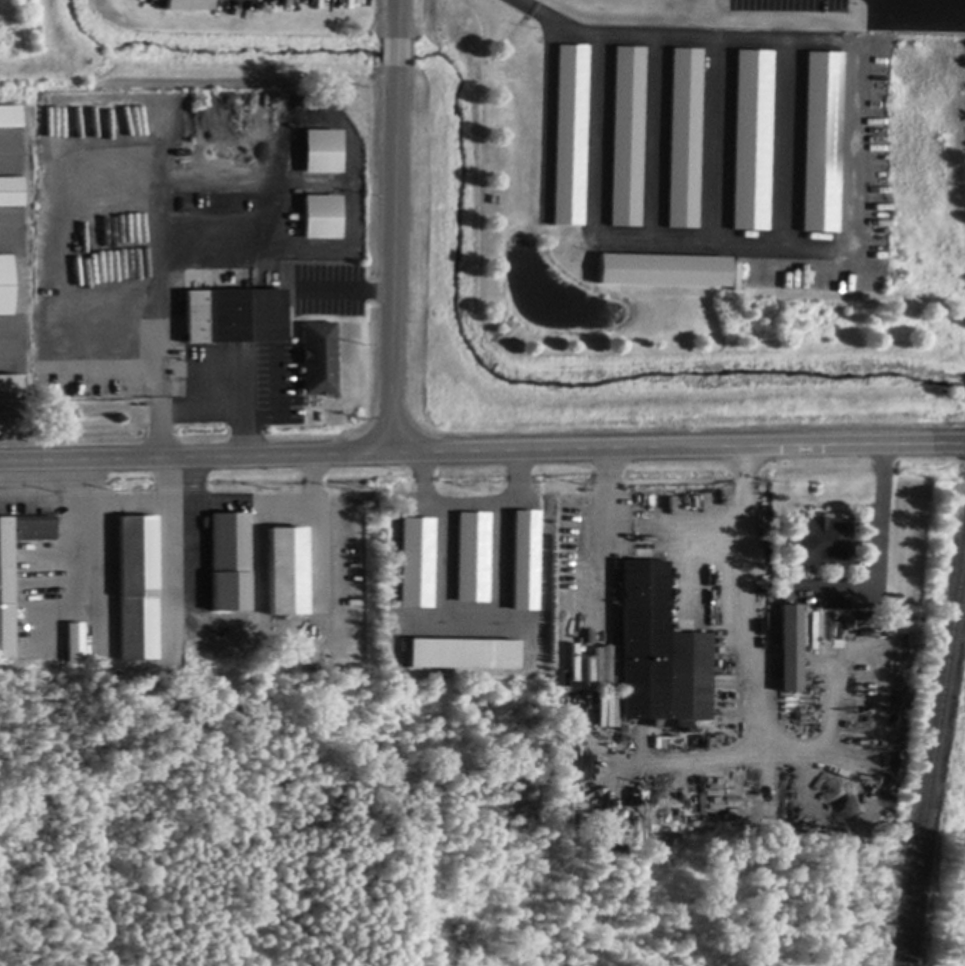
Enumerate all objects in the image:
building: (186, 5)
building: (234, 5)
road: (671, 39)
building: (9, 116)
building: (570, 137)
building: (627, 138)
building: (684, 140)
building: (818, 141)
building: (751, 142)
building: (322, 153)
building: (11, 193)
building: (321, 219)
road: (393, 226)
building: (663, 272)
building: (4, 287)
building: (235, 317)
building: (318, 360)
building: (9, 391)
road: (482, 451)
road: (473, 500)
road: (255, 501)
road: (41, 504)
road: (123, 506)
building: (821, 542)
road: (883, 548)
building: (471, 556)
road: (603, 559)
building: (523, 560)
building: (416, 562)
building: (230, 564)
building: (288, 572)
building: (137, 590)
road: (744, 592)
building: (6, 601)
building: (75, 644)
building: (789, 650)
building: (463, 655)
building: (659, 656)
railway: (934, 763)
crop: (963, 783)
crop: (955, 920)

